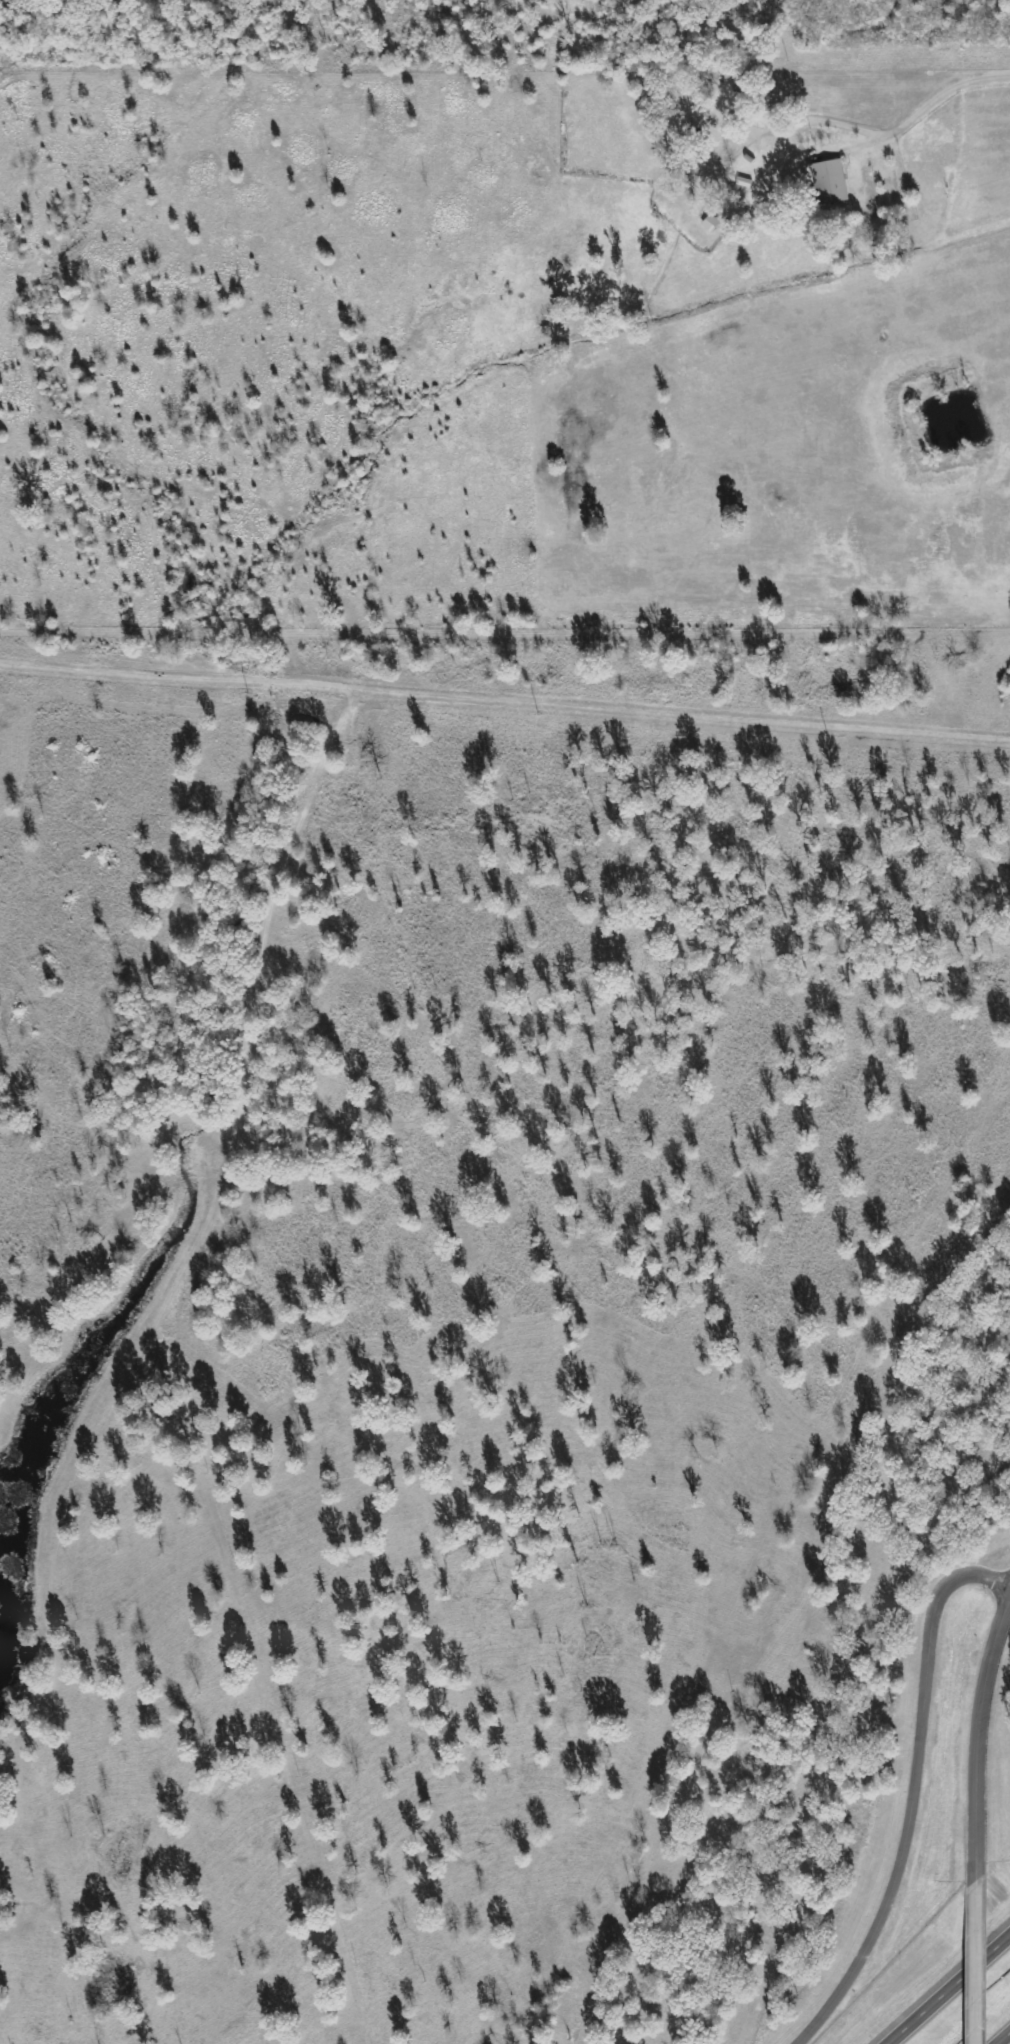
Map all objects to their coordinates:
building: (832, 179)
road: (982, 1738)
road: (916, 1793)
road: (975, 1958)
road: (951, 1991)
road: (1004, 2039)

